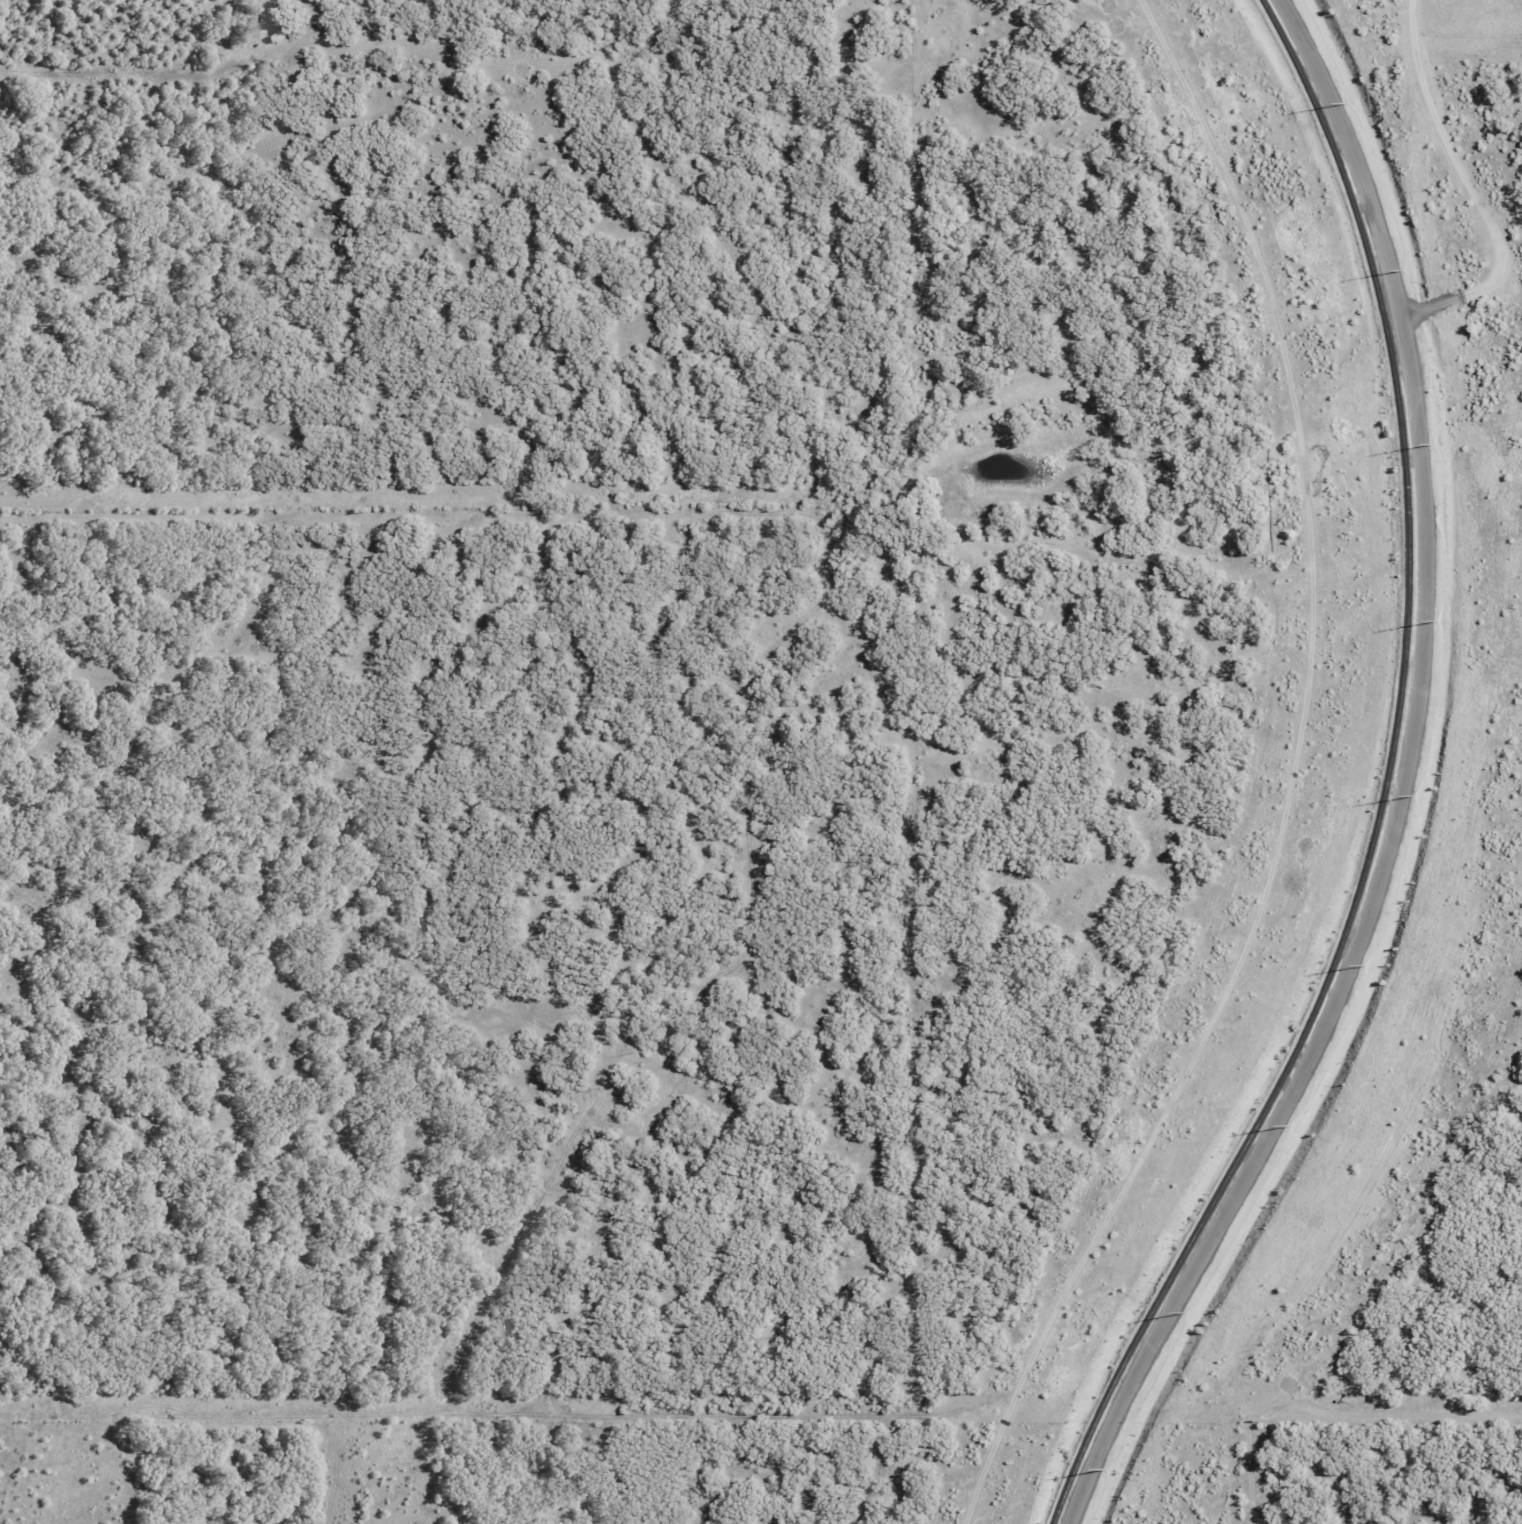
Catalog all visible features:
power tower: (1348, 103)
road: (1473, 190)
power tower: (1405, 271)
power tower: (1436, 444)
power tower: (1438, 620)
railway: (1389, 785)
road: (1398, 785)
power tower: (1415, 794)
power tower: (1364, 965)
power tower: (1290, 1125)
power tower: (1186, 1312)
road: (1331, 1413)
power tower: (1107, 1469)

